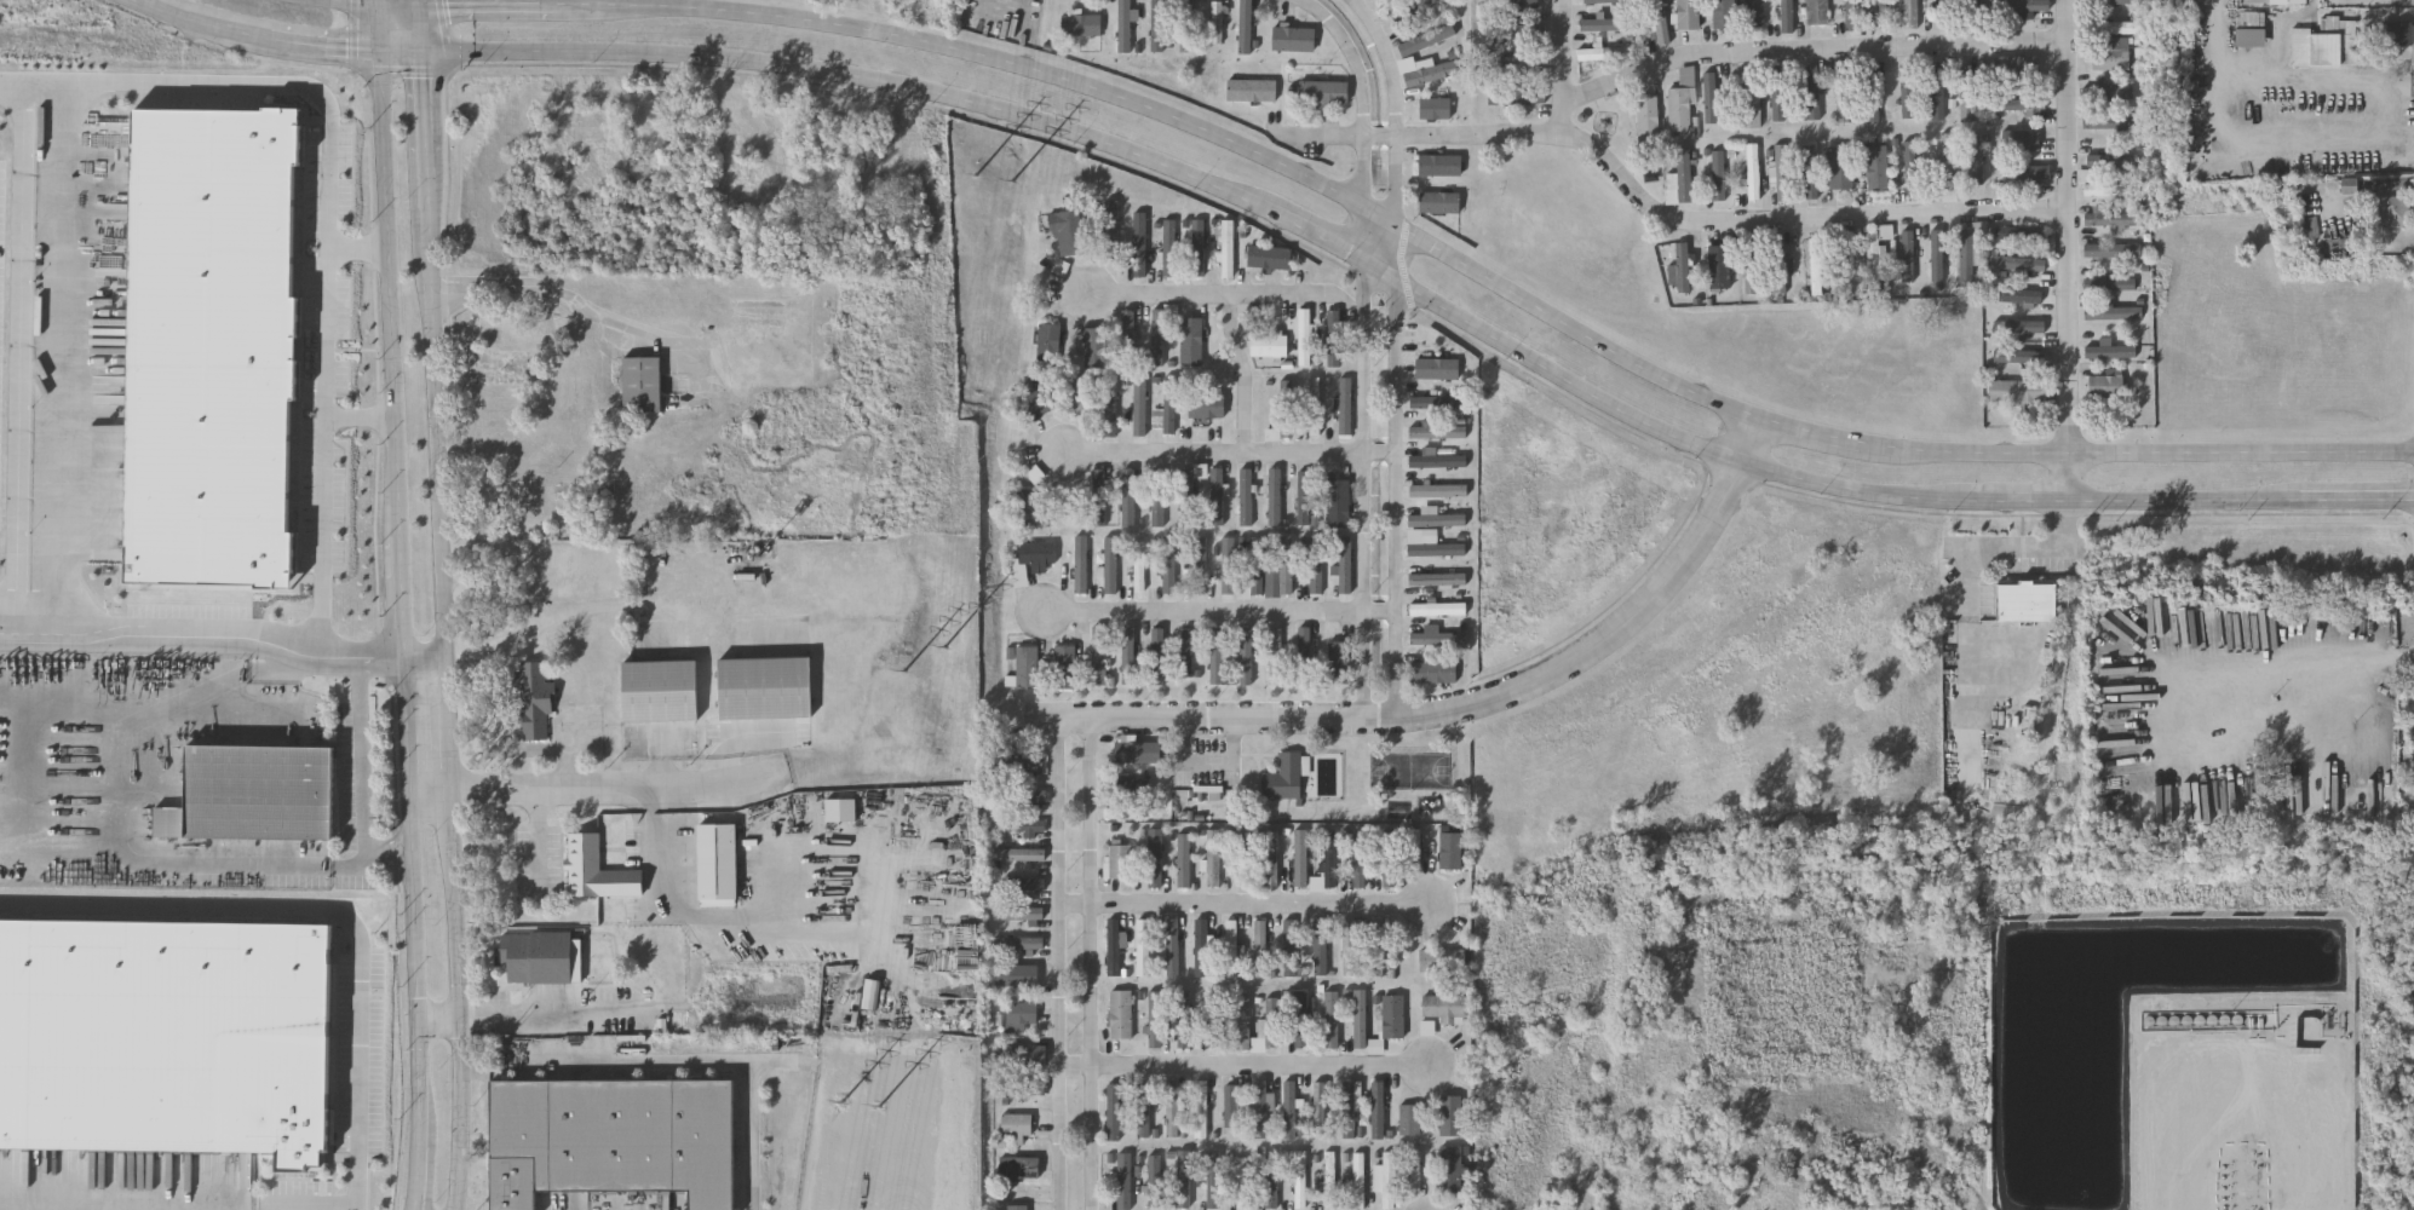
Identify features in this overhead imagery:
building: (1391, 0)
building: (2274, 1)
road: (350, 2)
road: (379, 2)
road: (419, 2)
building: (1523, 5)
traffic signals: (380, 6)
road: (400, 6)
traffic signals: (420, 6)
road: (487, 6)
building: (1413, 11)
building: (1818, 13)
building: (1853, 13)
building: (1885, 13)
building: (1976, 13)
building: (1726, 15)
building: (1757, 15)
building: (1912, 15)
building: (1947, 15)
building: (1689, 16)
building: (1220, 22)
building: (1662, 23)
road: (207, 25)
building: (1086, 25)
building: (1127, 25)
building: (1160, 25)
building: (1190, 25)
building: (1248, 27)
building: (1609, 28)
road: (379, 29)
building: (2114, 29)
building: (2254, 29)
road: (423, 30)
building: (1517, 33)
building: (2401, 33)
building: (1298, 39)
building: (2330, 44)
road: (332, 50)
traffic signals: (379, 53)
road: (402, 53)
traffic signals: (425, 54)
road: (1809, 54)
building: (1407, 56)
building: (1608, 56)
building: (2110, 62)
building: (1521, 69)
road: (1562, 69)
building: (2016, 71)
road: (269, 80)
road: (2276, 81)
building: (1909, 87)
building: (1254, 90)
building: (1328, 92)
building: (1937, 93)
building: (1845, 96)
building: (1967, 96)
building: (1873, 97)
building: (1534, 98)
building: (1438, 108)
road: (425, 109)
building: (1751, 109)
building: (1680, 113)
building: (1649, 117)
road: (1419, 138)
building: (2022, 142)
road: (1352, 143)
building: (1977, 161)
building: (1442, 165)
building: (1912, 165)
building: (1947, 165)
building: (327, 167)
building: (1841, 168)
building: (1875, 168)
building: (1754, 173)
building: (1783, 174)
building: (2028, 174)
power tower: (978, 179)
building: (1682, 180)
power tower: (1016, 185)
building: (2111, 191)
building: (361, 198)
building: (1443, 202)
building: (2395, 211)
road: (1795, 223)
building: (2113, 224)
building: (1113, 229)
building: (1069, 234)
building: (2021, 237)
building: (1140, 244)
building: (1171, 247)
building: (1200, 247)
building: (1228, 248)
road: (2067, 252)
building: (2111, 253)
building: (1876, 255)
building: (1845, 258)
building: (1269, 259)
building: (1966, 259)
building: (2021, 265)
building: (1062, 267)
building: (1778, 267)
building: (1816, 267)
building: (1753, 269)
building: (1684, 270)
building: (1720, 270)
building: (1065, 271)
road: (1478, 280)
road: (553, 294)
road: (1220, 294)
road: (390, 295)
building: (2022, 299)
road: (1419, 300)
building: (2113, 315)
building: (1128, 332)
building: (1305, 336)
road: (73, 339)
building: (510, 339)
building: (1160, 339)
building: (1335, 339)
building: (1192, 341)
building: (1096, 344)
building: (1050, 345)
building: (217, 347)
building: (1266, 347)
road: (1390, 355)
building: (1438, 368)
road: (1245, 374)
building: (640, 388)
building: (2105, 388)
building: (1080, 393)
building: (2017, 393)
building: (1039, 402)
building: (1439, 402)
road: (323, 403)
building: (1207, 405)
building: (1315, 405)
building: (1346, 405)
building: (1111, 408)
building: (1140, 408)
building: (1168, 408)
building: (1284, 410)
building: (1439, 431)
road: (1230, 457)
building: (1439, 461)
building: (1438, 490)
building: (1100, 496)
building: (1192, 496)
building: (1222, 496)
building: (1275, 496)
building: (1305, 496)
building: (1128, 497)
building: (1247, 497)
building: (1339, 503)
building: (1159, 506)
building: (1027, 507)
building: (1070, 508)
building: (534, 518)
building: (1438, 519)
road: (1363, 520)
road: (2008, 548)
building: (1438, 549)
building: (1039, 553)
building: (1111, 565)
building: (1200, 565)
building: (1228, 565)
building: (1287, 565)
building: (1345, 565)
building: (1081, 566)
building: (1169, 566)
building: (1316, 566)
building: (1139, 567)
building: (1255, 569)
building: (1438, 578)
road: (123, 599)
road: (397, 603)
building: (2028, 605)
building: (1438, 609)
road: (322, 616)
road: (1222, 618)
road: (527, 632)
road: (1615, 634)
building: (1439, 638)
road: (162, 645)
power tower: (946, 652)
building: (1186, 652)
road: (2333, 653)
building: (1099, 656)
building: (1128, 656)
building: (1215, 656)
building: (1246, 656)
building: (1275, 656)
building: (1305, 656)
building: (1157, 657)
building: (1339, 662)
road: (423, 665)
building: (1028, 665)
building: (1065, 667)
road: (379, 668)
building: (1433, 672)
power tower: (907, 675)
road: (444, 687)
building: (656, 695)
building: (536, 703)
road: (1229, 725)
road: (404, 730)
road: (734, 734)
road: (586, 742)
road: (357, 748)
road: (558, 750)
building: (1137, 751)
road: (662, 760)
building: (1028, 762)
road: (1211, 766)
building: (1284, 777)
building: (1130, 785)
road: (593, 789)
building: (1025, 794)
building: (252, 795)
building: (1127, 808)
building: (1021, 824)
road: (384, 842)
road: (539, 845)
building: (1414, 847)
building: (1452, 849)
building: (1018, 853)
building: (1242, 855)
building: (1155, 857)
building: (1215, 857)
building: (1271, 857)
building: (1301, 857)
building: (1184, 859)
building: (1330, 859)
building: (1390, 859)
road: (384, 860)
building: (1121, 860)
building: (1360, 860)
building: (714, 865)
road: (650, 870)
building: (602, 875)
building: (1024, 882)
road: (1243, 909)
road: (323, 911)
building: (1022, 914)
building: (1021, 941)
building: (1352, 945)
building: (1114, 946)
building: (1143, 946)
building: (1202, 946)
building: (1173, 947)
building: (1230, 947)
building: (1260, 947)
building: (1289, 947)
building: (1321, 947)
building: (1376, 947)
building: (1442, 960)
building: (542, 961)
road: (1061, 963)
road: (1091, 964)
road: (418, 969)
building: (1024, 979)
building: (870, 998)
building: (1444, 1006)
building: (1121, 1014)
building: (1019, 1015)
building: (1393, 1016)
building: (1156, 1019)
building: (1185, 1019)
building: (1214, 1019)
building: (1303, 1019)
building: (1332, 1019)
building: (1360, 1019)
road: (441, 1021)
building: (1242, 1021)
building: (1274, 1021)
building: (162, 1037)
building: (1027, 1055)
road: (667, 1061)
road: (1242, 1070)
building: (1023, 1087)
building: (1230, 1105)
power tower: (843, 1107)
building: (1144, 1108)
building: (1173, 1108)
building: (1201, 1108)
building: (1260, 1108)
building: (1289, 1108)
building: (1321, 1108)
building: (1349, 1108)
building: (1376, 1110)
building: (1114, 1111)
power tower: (880, 1113)
building: (1450, 1114)
building: (1409, 1119)
building: (1016, 1124)
road: (758, 1140)
building: (619, 1142)
building: (1016, 1163)
building: (1452, 1169)
building: (1413, 1170)
building: (1184, 1177)
building: (1214, 1177)
building: (1272, 1177)
building: (1300, 1179)
building: (1330, 1179)
road: (419, 1180)
building: (1125, 1180)
building: (1357, 1180)
building: (1156, 1181)
building: (1241, 1181)
building: (1387, 1181)
road: (2154, 1197)
road: (309, 1202)
building: (1017, 1206)

